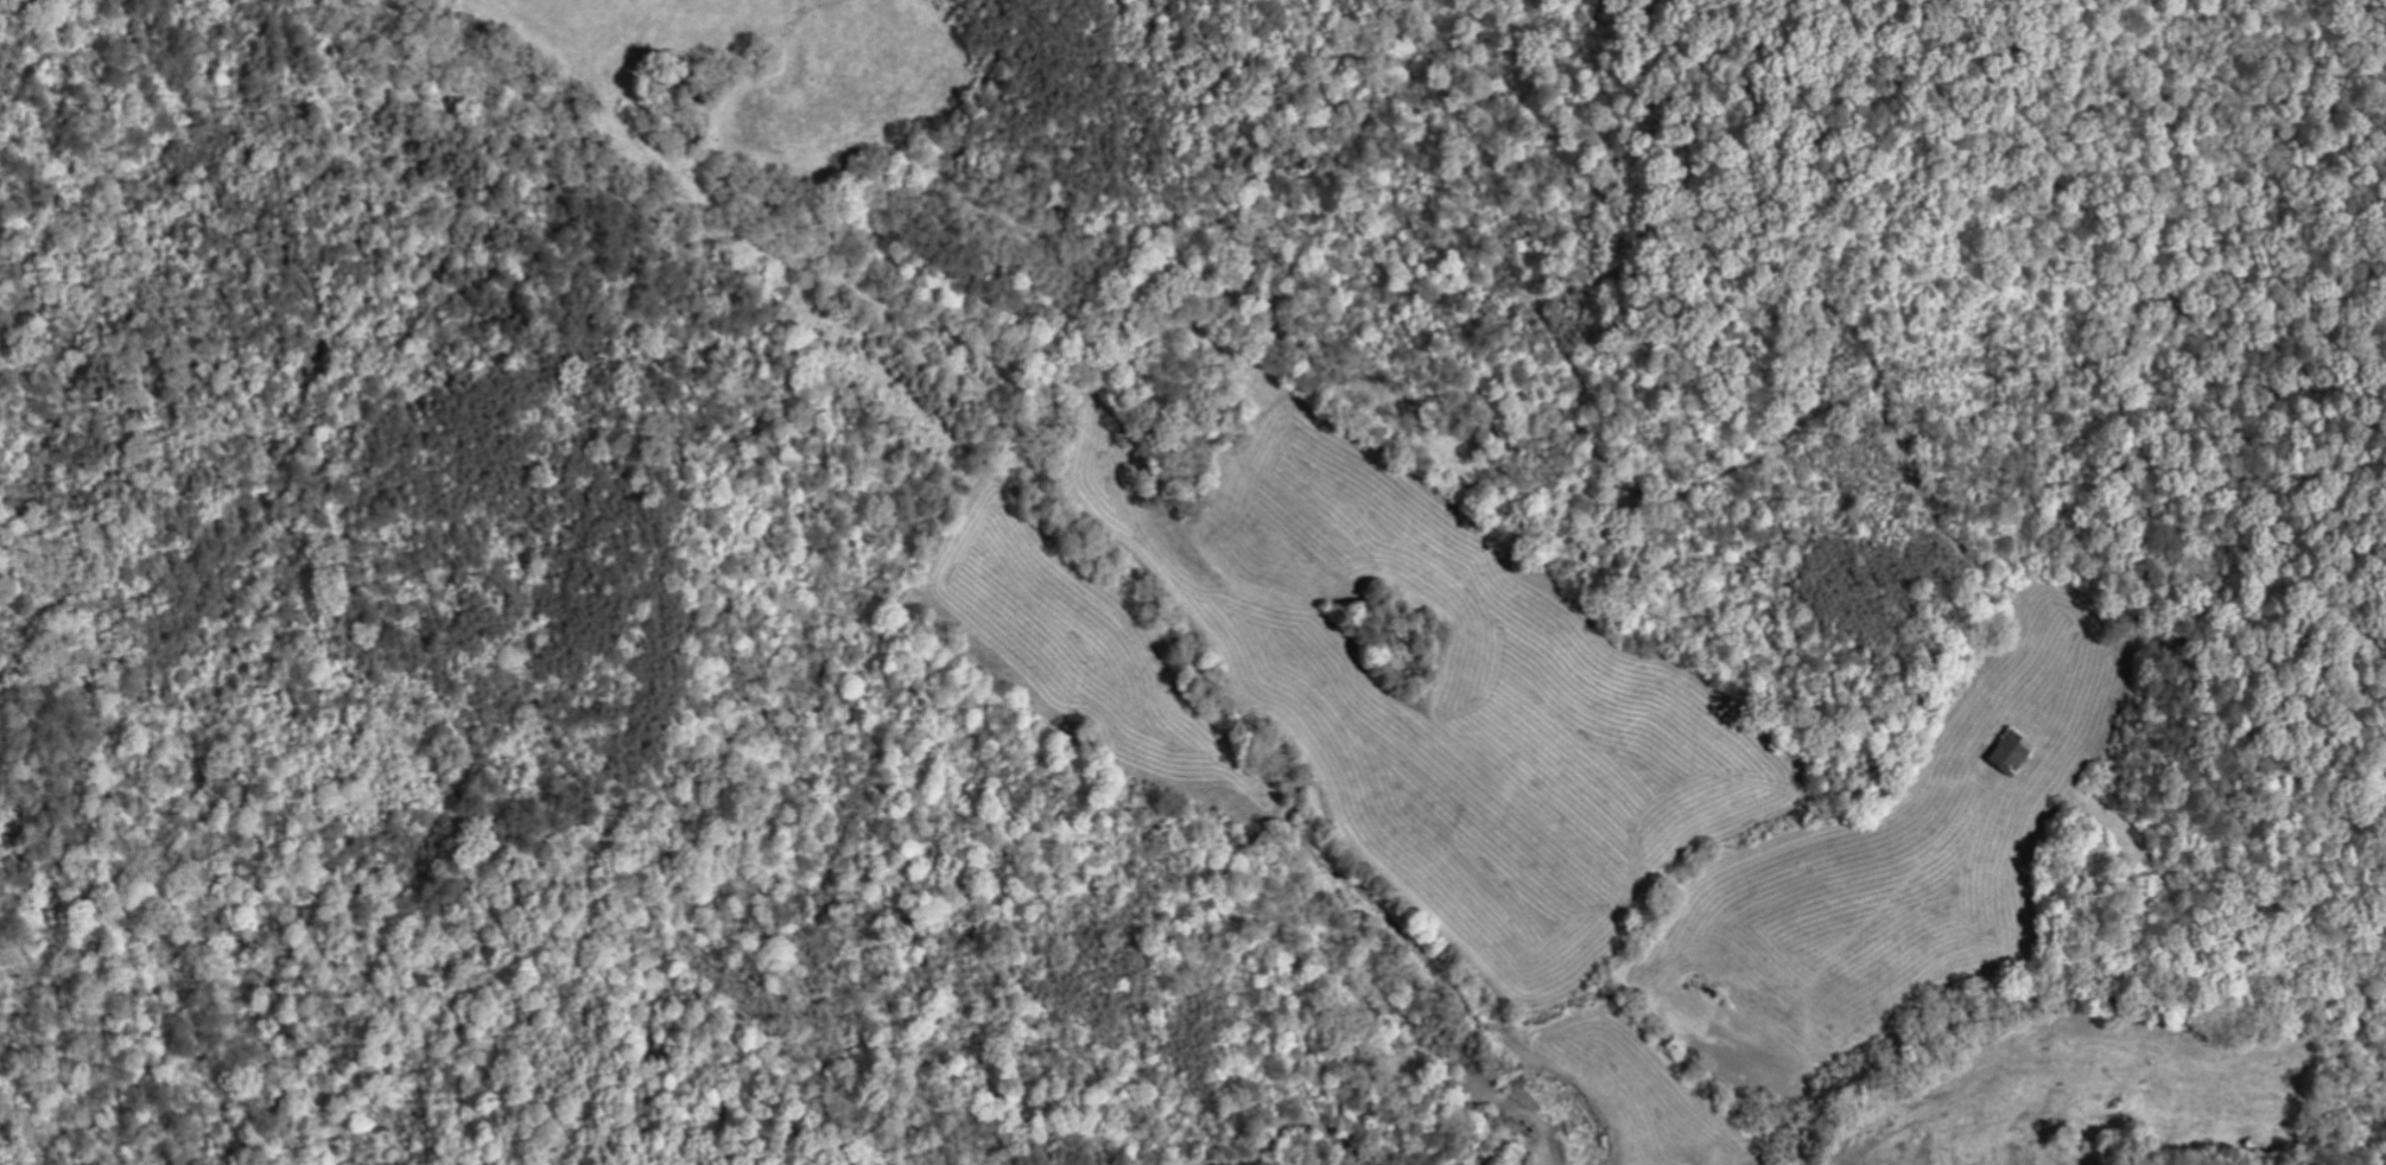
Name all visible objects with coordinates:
building: (2009, 752)

